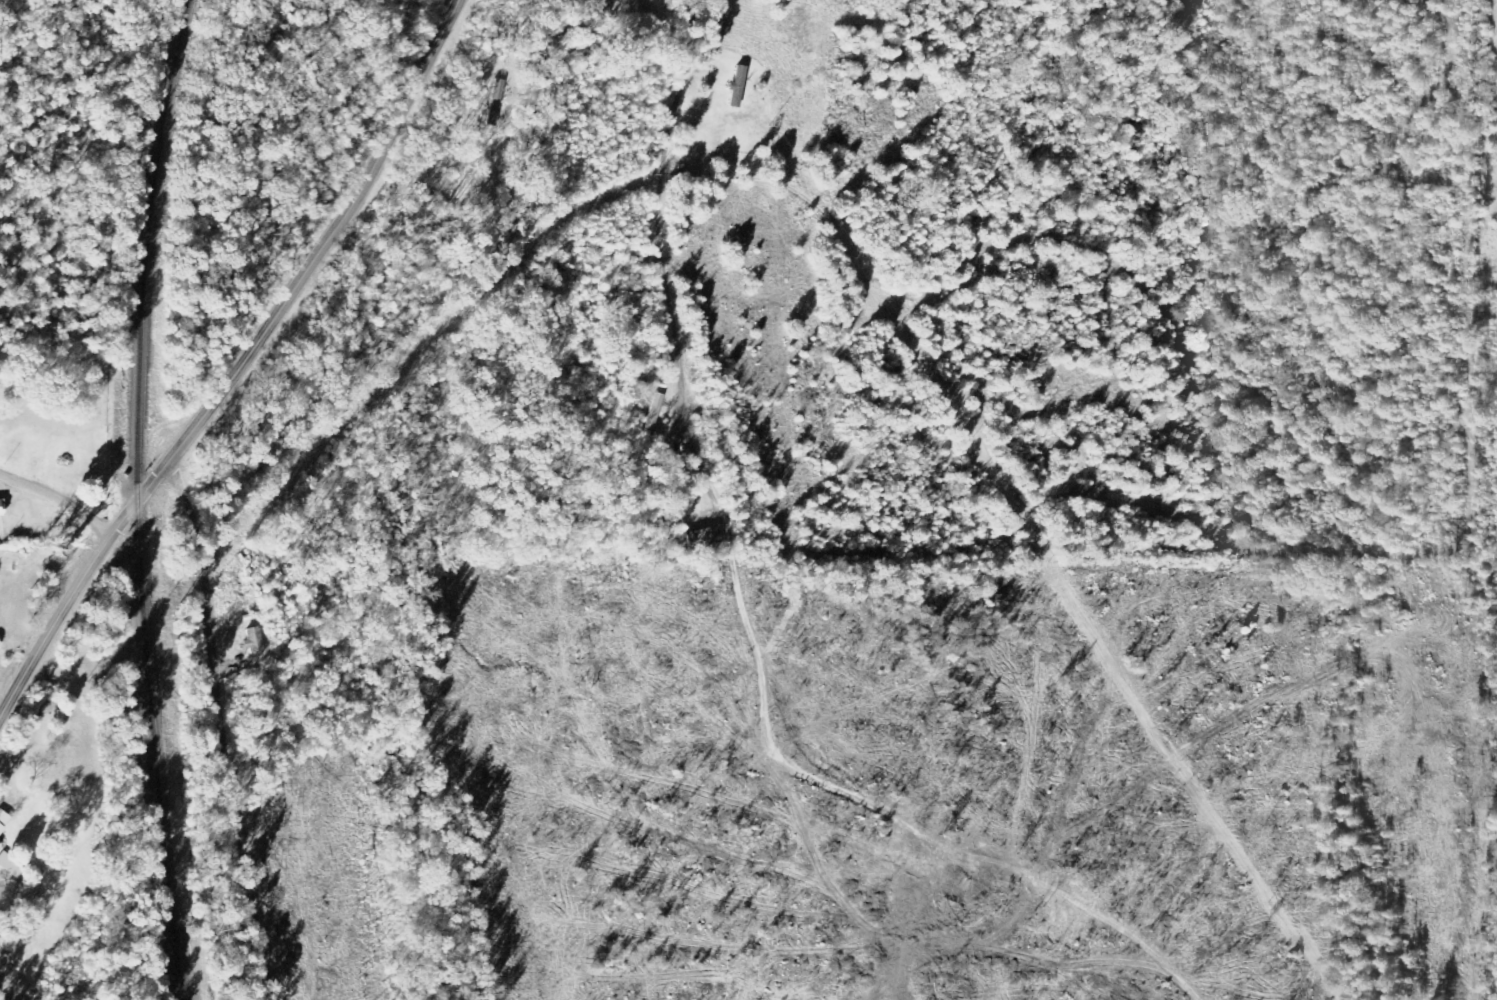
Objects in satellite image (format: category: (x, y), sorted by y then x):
road: (243, 367)
railway: (137, 463)
road: (60, 496)
building: (708, 537)
road: (1452, 605)
road: (703, 612)
road: (18, 655)
road: (222, 762)
building: (5, 821)
building: (1, 845)
railway: (180, 965)
railway: (182, 965)

